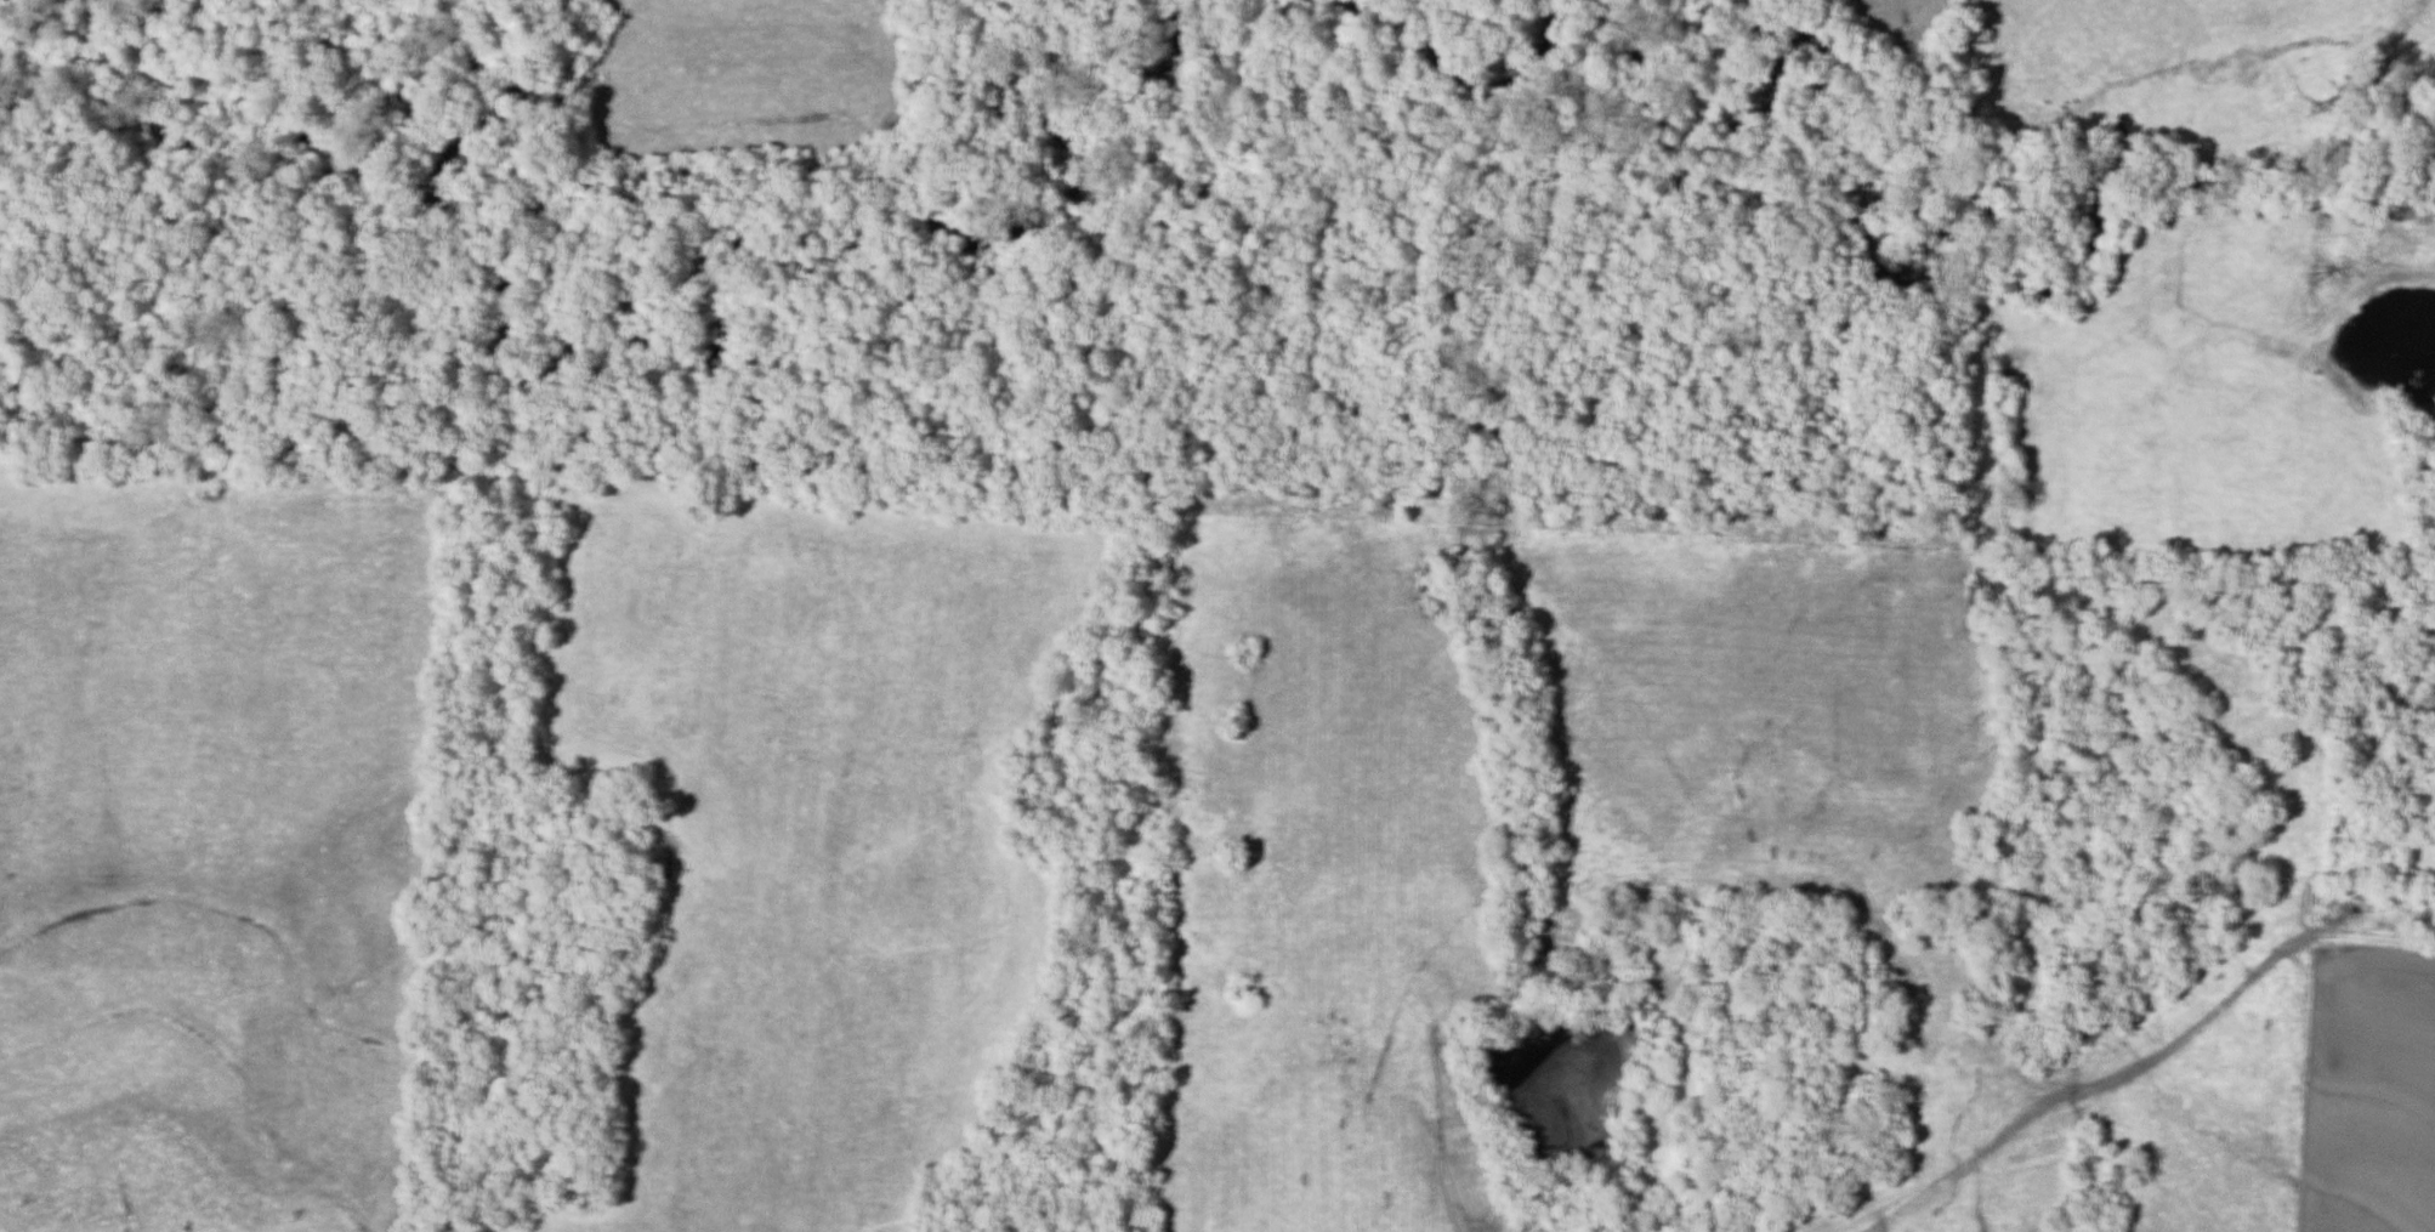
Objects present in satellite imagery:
crop: (2368, 1095)

